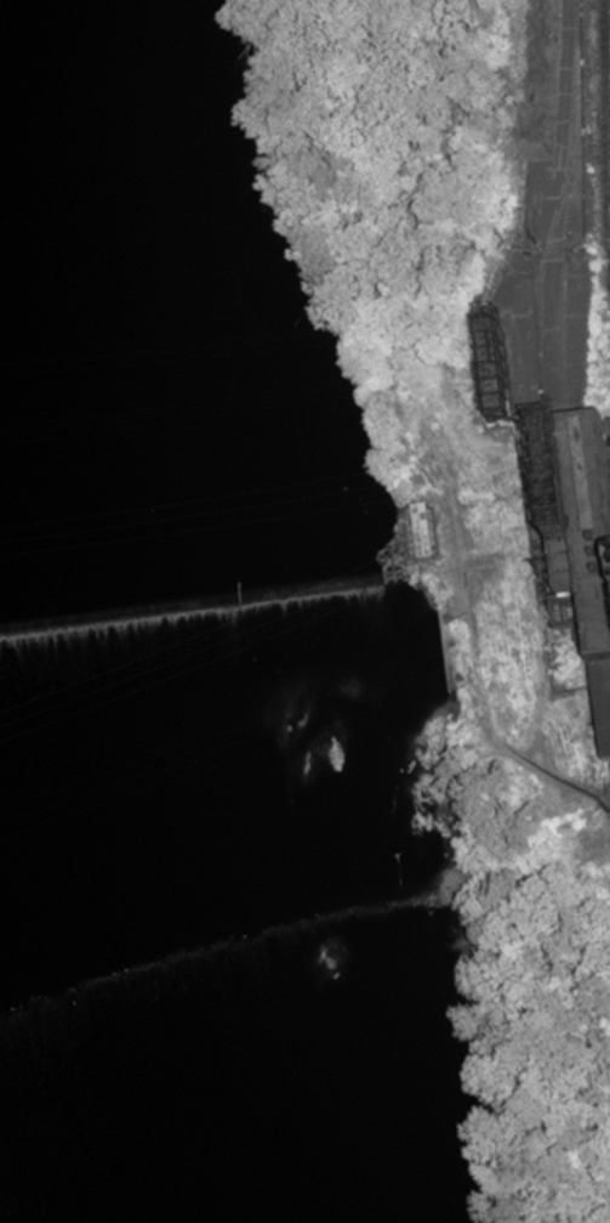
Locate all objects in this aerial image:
road: (563, 125)
river: (50, 386)
building: (608, 440)
building: (424, 538)
building: (606, 628)
river: (160, 917)

